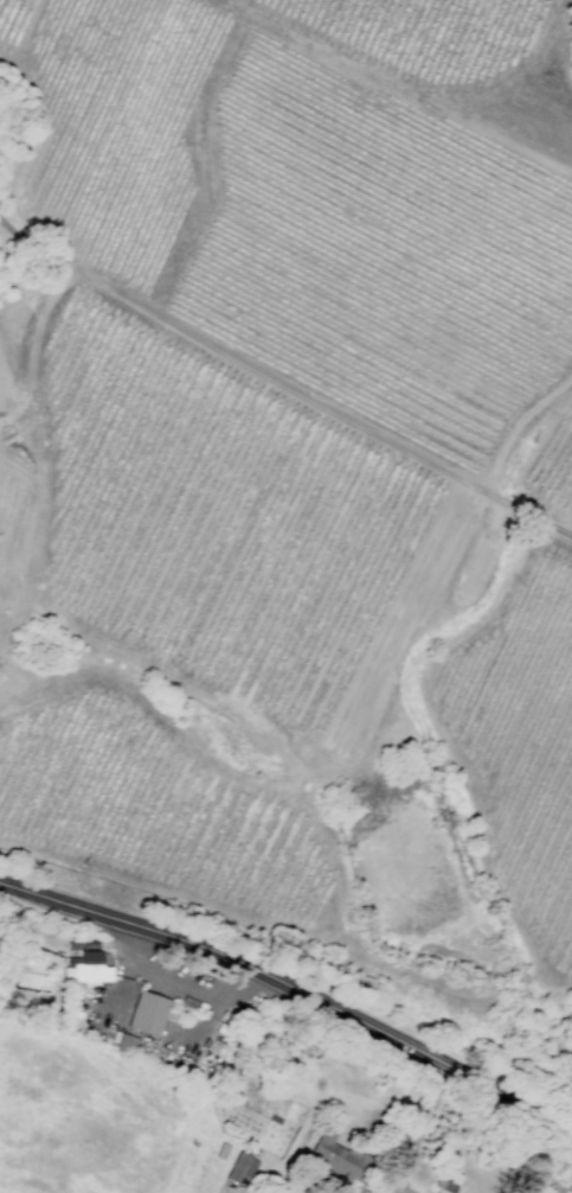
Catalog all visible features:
building: (85, 970)
building: (33, 982)
road: (294, 987)
building: (148, 1014)
building: (126, 1045)
road: (437, 1134)
building: (335, 1157)
building: (240, 1168)
building: (448, 1184)
building: (536, 1188)

